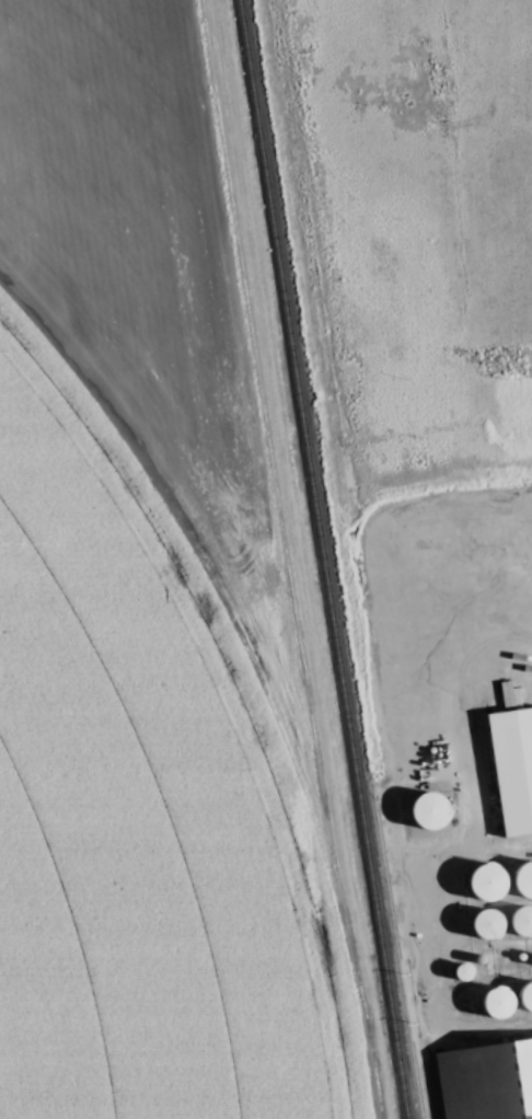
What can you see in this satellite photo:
railway: (323, 559)
building: (523, 877)
railway: (396, 956)
building: (486, 1080)
railway: (426, 1086)

